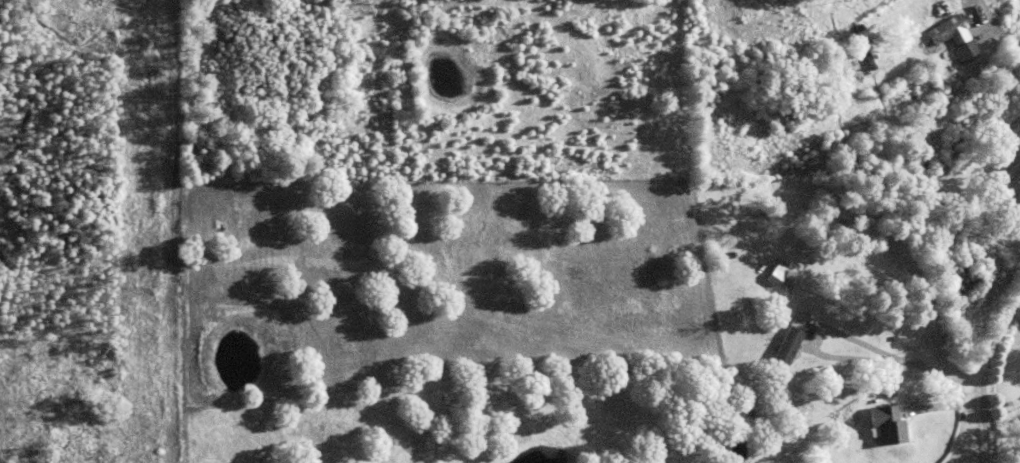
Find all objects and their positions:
building: (851, 30)
building: (955, 37)
building: (884, 58)
building: (857, 60)
building: (953, 61)
building: (792, 112)
building: (774, 117)
building: (974, 140)
building: (864, 141)
building: (857, 146)
building: (909, 150)
building: (917, 161)
building: (1009, 171)
building: (938, 183)
building: (767, 326)
building: (791, 339)
building: (887, 423)

